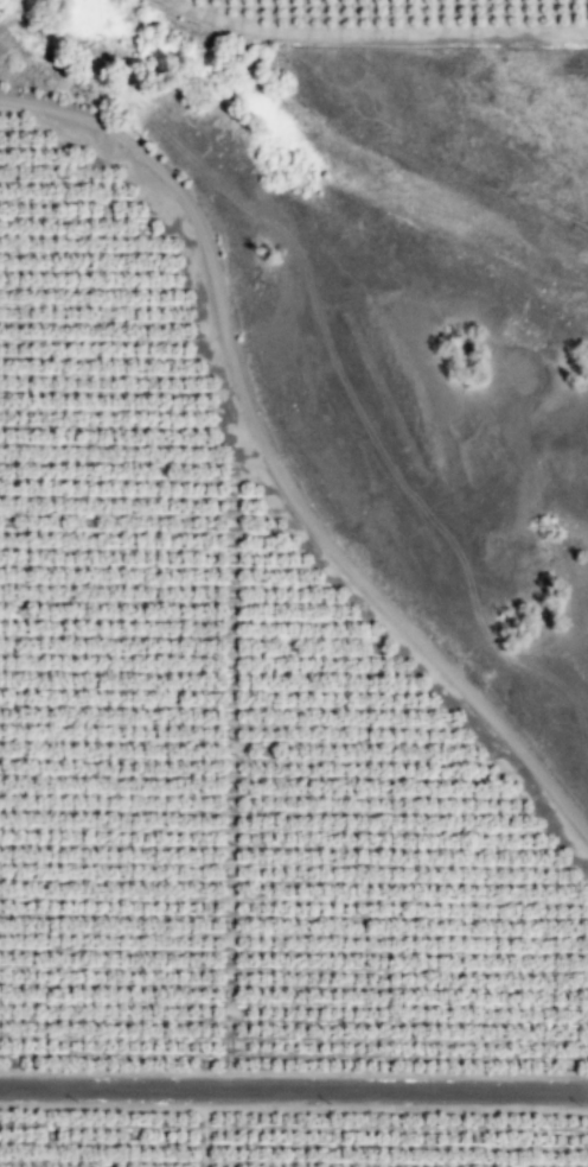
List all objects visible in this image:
road: (294, 1087)

